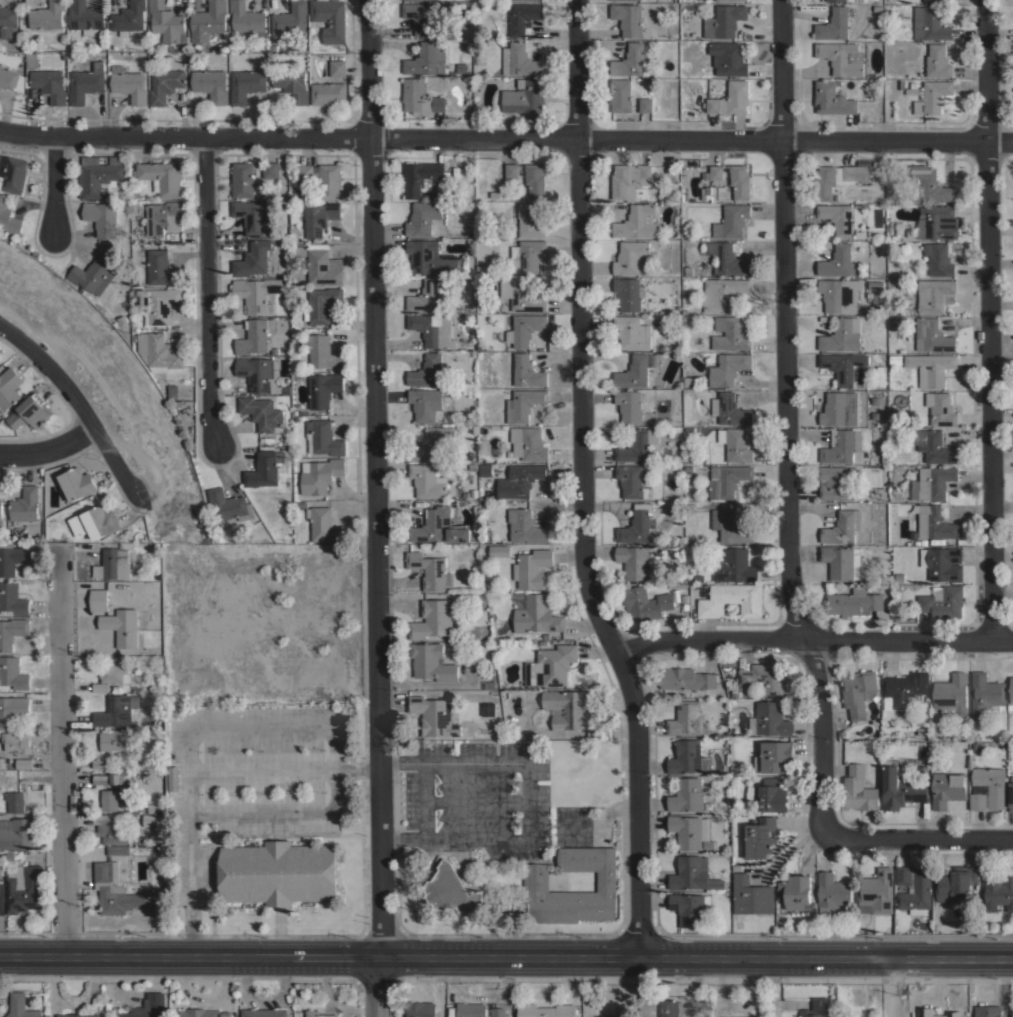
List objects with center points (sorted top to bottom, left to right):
building: (475, 0)
building: (634, 0)
building: (729, 0)
building: (842, 0)
building: (929, 0)
building: (47, 15)
building: (523, 16)
building: (85, 17)
building: (427, 17)
building: (128, 18)
building: (627, 18)
building: (247, 19)
building: (328, 20)
building: (7, 21)
building: (208, 21)
building: (724, 21)
building: (166, 22)
building: (289, 23)
building: (834, 24)
building: (929, 24)
building: (842, 57)
building: (728, 58)
building: (32, 59)
building: (427, 59)
building: (477, 59)
building: (520, 60)
building: (629, 61)
building: (938, 61)
building: (338, 68)
building: (11, 79)
building: (86, 83)
building: (900, 83)
building: (49, 84)
building: (129, 84)
building: (165, 84)
building: (209, 84)
building: (246, 84)
building: (292, 84)
building: (913, 84)
building: (328, 93)
building: (620, 95)
building: (930, 96)
building: (420, 97)
building: (525, 97)
building: (731, 98)
building: (832, 98)
building: (645, 105)
road: (506, 139)
building: (876, 163)
building: (270, 169)
building: (512, 171)
building: (877, 172)
building: (12, 173)
building: (98, 175)
building: (420, 176)
building: (161, 177)
building: (323, 178)
building: (837, 178)
building: (242, 179)
building: (629, 179)
building: (733, 179)
building: (535, 180)
building: (931, 184)
road: (51, 185)
building: (490, 196)
building: (135, 207)
building: (8, 216)
building: (253, 217)
building: (102, 218)
building: (162, 218)
building: (320, 218)
building: (423, 218)
building: (838, 218)
building: (530, 220)
building: (731, 221)
building: (637, 222)
building: (937, 222)
building: (477, 229)
building: (909, 230)
building: (294, 234)
building: (859, 234)
building: (470, 240)
building: (479, 240)
building: (299, 250)
building: (527, 256)
building: (431, 258)
building: (632, 258)
building: (727, 258)
building: (253, 259)
building: (939, 259)
building: (839, 261)
building: (323, 266)
building: (480, 267)
building: (161, 268)
building: (687, 270)
building: (92, 276)
building: (894, 284)
road: (204, 291)
building: (256, 293)
building: (629, 293)
building: (723, 293)
building: (840, 294)
building: (429, 295)
building: (521, 295)
building: (935, 295)
building: (157, 304)
building: (322, 304)
building: (121, 319)
road: (985, 321)
building: (525, 329)
building: (434, 330)
building: (632, 332)
building: (730, 333)
building: (842, 335)
building: (932, 335)
building: (254, 336)
building: (274, 350)
building: (900, 350)
building: (158, 351)
building: (323, 352)
building: (895, 358)
building: (842, 366)
building: (930, 368)
building: (728, 369)
building: (522, 370)
building: (427, 371)
building: (634, 371)
building: (258, 373)
building: (689, 381)
building: (8, 387)
building: (285, 389)
building: (323, 389)
building: (172, 391)
building: (425, 403)
building: (523, 403)
road: (75, 405)
building: (629, 405)
building: (860, 407)
building: (839, 408)
building: (940, 408)
building: (729, 409)
building: (30, 412)
building: (294, 412)
building: (263, 413)
road: (792, 419)
building: (323, 438)
building: (528, 443)
building: (433, 444)
building: (735, 444)
building: (638, 445)
building: (845, 447)
building: (933, 447)
road: (47, 450)
building: (884, 459)
building: (471, 466)
building: (264, 468)
building: (485, 469)
building: (320, 475)
building: (427, 480)
building: (520, 480)
building: (726, 480)
building: (288, 481)
building: (630, 481)
building: (74, 482)
road: (586, 482)
building: (836, 482)
building: (934, 482)
building: (473, 493)
building: (512, 502)
building: (300, 504)
building: (24, 505)
building: (229, 505)
road: (376, 508)
building: (1, 512)
building: (95, 522)
building: (934, 522)
building: (325, 525)
building: (639, 525)
building: (525, 526)
building: (729, 526)
building: (843, 526)
building: (440, 527)
building: (50, 528)
building: (923, 541)
building: (933, 541)
building: (916, 542)
building: (499, 550)
building: (11, 559)
building: (633, 562)
building: (842, 562)
building: (943, 563)
building: (113, 564)
building: (735, 566)
building: (531, 568)
building: (429, 570)
building: (158, 576)
building: (698, 578)
building: (684, 581)
building: (684, 598)
building: (12, 599)
building: (99, 599)
building: (731, 600)
building: (943, 601)
building: (854, 602)
building: (645, 603)
building: (685, 606)
building: (535, 613)
building: (433, 619)
building: (122, 626)
building: (12, 632)
building: (549, 635)
road: (812, 637)
building: (542, 642)
building: (432, 661)
building: (550, 666)
building: (13, 673)
building: (113, 673)
building: (764, 678)
building: (686, 679)
building: (101, 687)
building: (903, 689)
building: (1011, 689)
building: (858, 692)
building: (985, 693)
building: (733, 694)
building: (951, 695)
building: (1009, 707)
building: (488, 708)
building: (12, 709)
building: (569, 709)
building: (117, 710)
building: (434, 716)
building: (687, 719)
building: (769, 719)
building: (921, 731)
building: (113, 740)
building: (16, 742)
building: (1001, 750)
road: (63, 754)
building: (774, 756)
building: (688, 757)
building: (1, 762)
building: (23, 762)
building: (100, 764)
building: (922, 773)
building: (116, 778)
building: (174, 778)
building: (100, 779)
building: (900, 787)
building: (947, 788)
building: (988, 788)
building: (859, 789)
building: (1011, 794)
building: (687, 795)
building: (771, 795)
building: (110, 799)
building: (15, 801)
building: (152, 807)
building: (151, 820)
building: (110, 828)
building: (691, 832)
building: (18, 835)
road: (917, 836)
building: (760, 837)
building: (159, 842)
building: (118, 850)
building: (736, 867)
building: (278, 872)
building: (693, 874)
building: (903, 875)
building: (956, 884)
building: (25, 889)
building: (540, 890)
building: (115, 891)
road: (190, 891)
building: (795, 891)
building: (876, 891)
building: (1000, 891)
building: (832, 892)
building: (917, 893)
building: (751, 895)
building: (2, 898)
building: (688, 908)
road: (506, 957)
road: (888, 988)
building: (20, 1006)
building: (147, 1007)
building: (670, 1008)
building: (817, 1008)
building: (420, 1009)
building: (471, 1010)
building: (546, 1010)
building: (498, 1012)
building: (925, 1012)
building: (988, 1012)
building: (202, 1013)
building: (264, 1013)
building: (318, 1013)
building: (1012, 1013)
building: (79, 1015)
building: (605, 1016)

